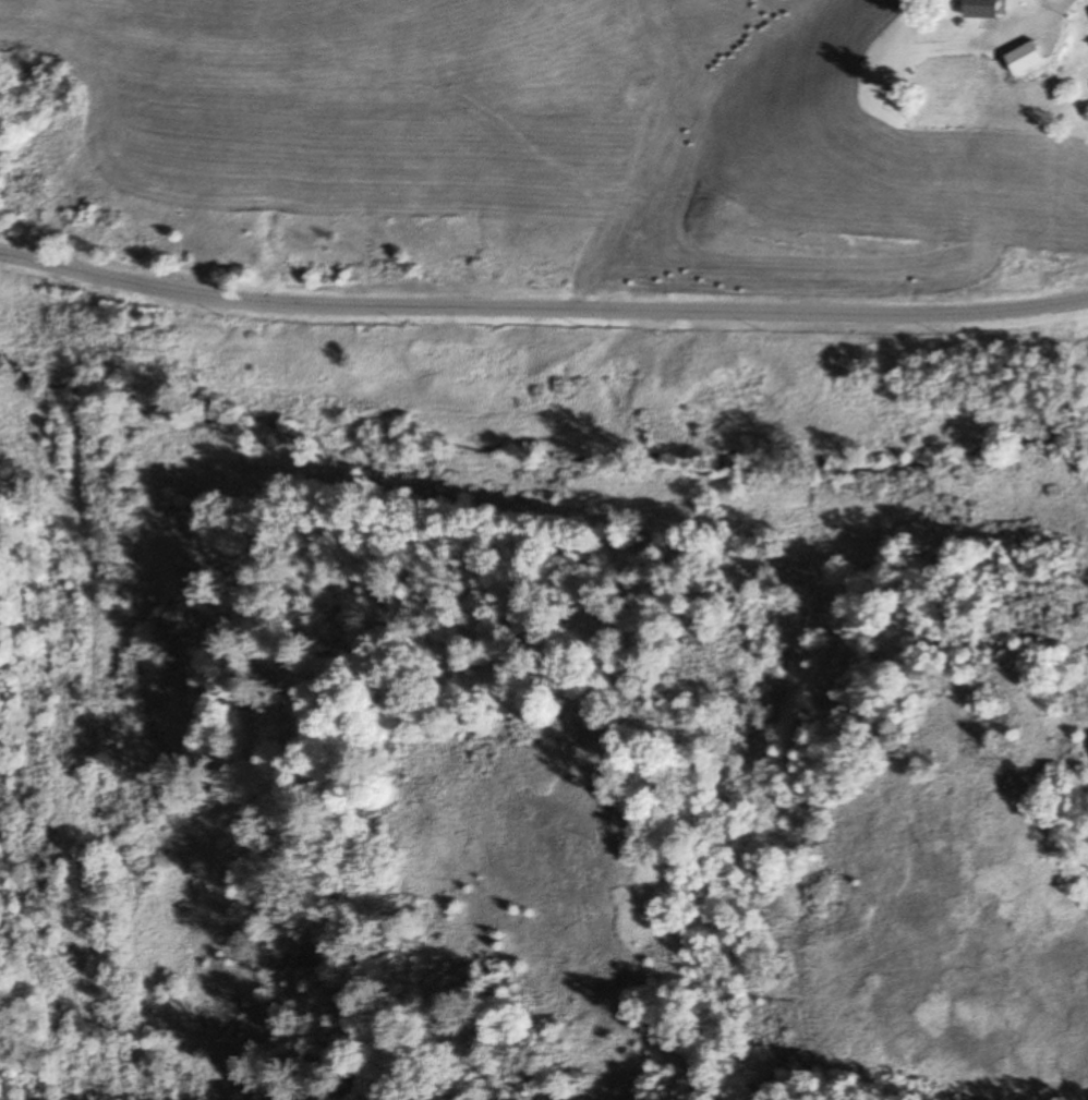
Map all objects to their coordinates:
building: (990, 8)
road: (1056, 13)
building: (1032, 60)
road: (542, 314)

